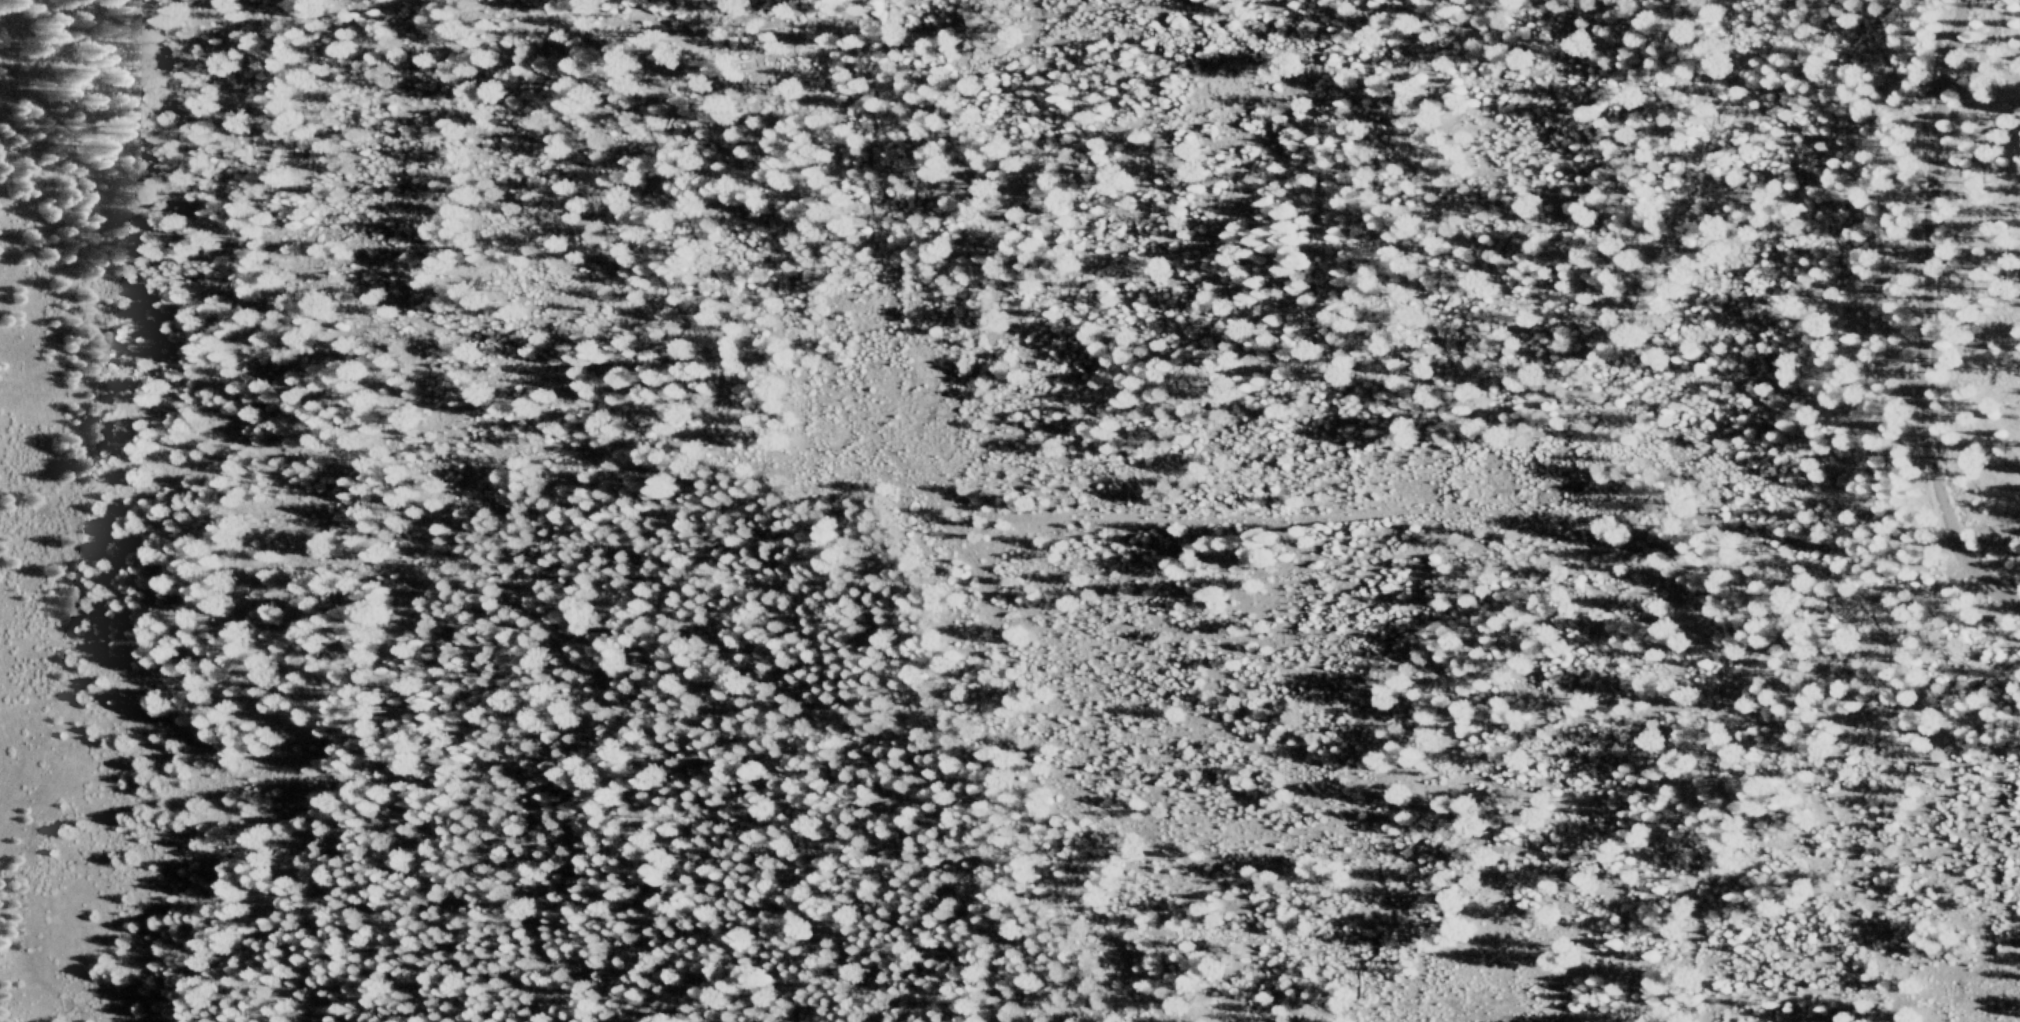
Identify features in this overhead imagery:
road: (1932, 310)

